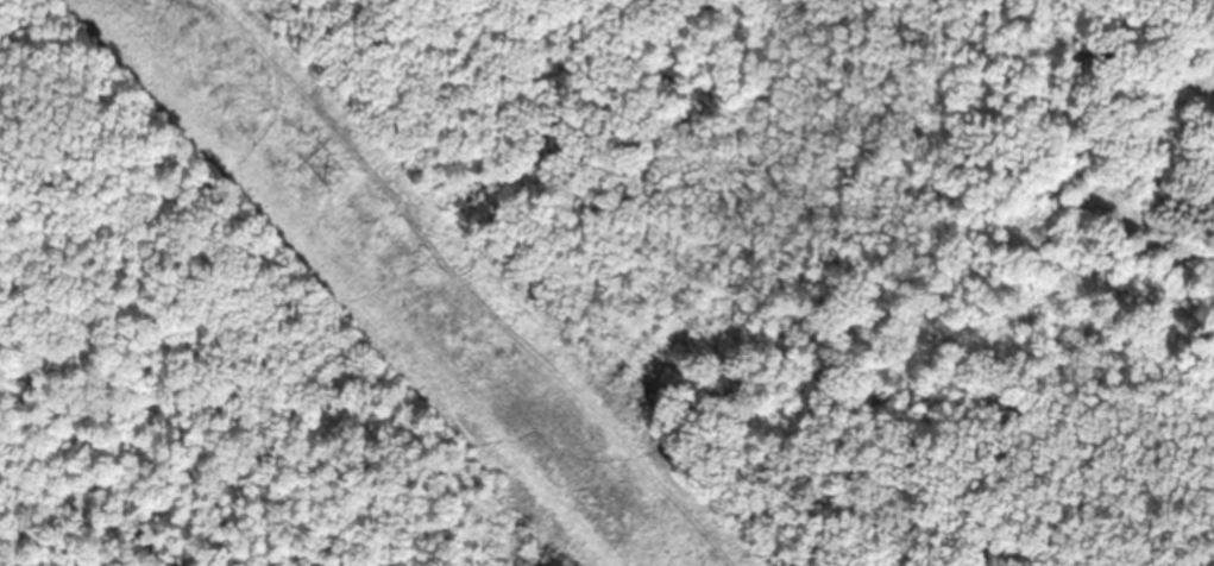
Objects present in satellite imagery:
power tower: (335, 177)

